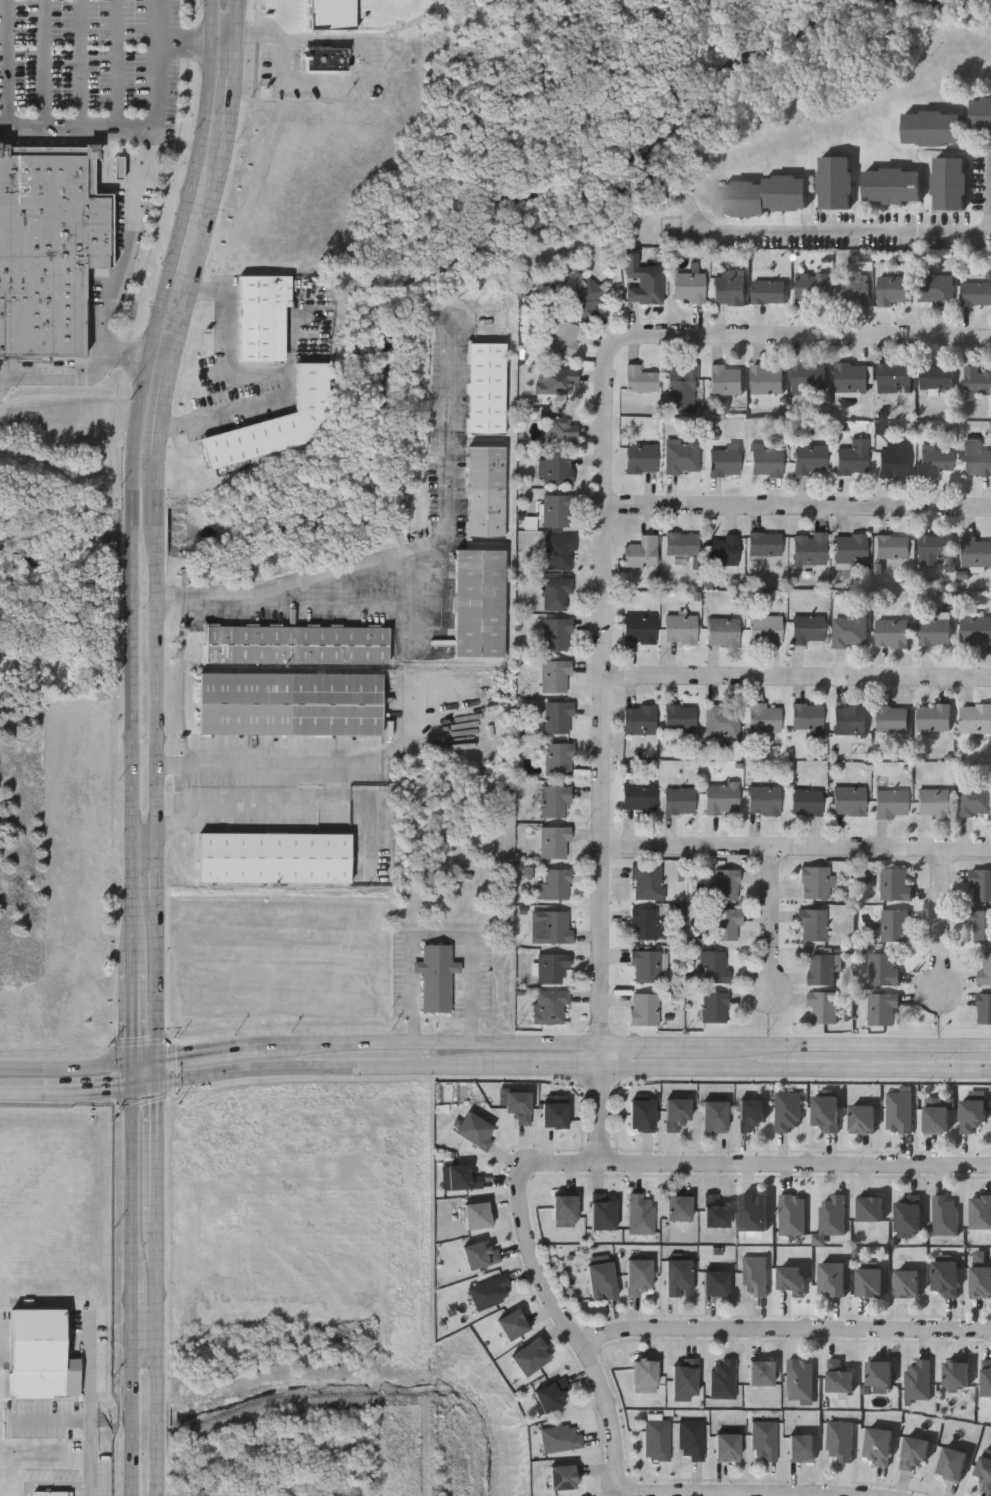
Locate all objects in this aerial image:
road: (160, 17)
road: (265, 17)
building: (325, 57)
road: (7, 63)
road: (45, 63)
road: (81, 63)
road: (116, 64)
road: (366, 78)
road: (156, 95)
building: (982, 116)
building: (933, 127)
building: (836, 181)
building: (951, 182)
building: (894, 185)
building: (765, 194)
road: (990, 195)
road: (845, 234)
road: (130, 237)
building: (49, 243)
building: (689, 286)
building: (730, 287)
building: (814, 288)
building: (894, 289)
building: (938, 289)
building: (854, 290)
building: (770, 291)
building: (976, 292)
building: (586, 299)
building: (263, 315)
building: (563, 336)
road: (269, 368)
road: (92, 373)
building: (895, 376)
building: (937, 376)
building: (852, 377)
building: (555, 379)
building: (641, 379)
building: (810, 379)
building: (977, 379)
building: (726, 380)
building: (768, 380)
building: (486, 386)
building: (684, 387)
building: (275, 422)
building: (559, 425)
building: (682, 456)
building: (642, 457)
building: (976, 457)
building: (810, 458)
building: (852, 458)
building: (895, 458)
building: (936, 458)
building: (725, 460)
building: (766, 460)
building: (555, 467)
road: (134, 476)
building: (486, 492)
road: (797, 508)
building: (556, 510)
road: (604, 514)
road: (155, 527)
building: (682, 542)
building: (765, 543)
building: (894, 546)
road: (402, 548)
building: (810, 548)
building: (851, 548)
building: (722, 549)
building: (935, 549)
building: (558, 551)
building: (641, 551)
building: (975, 551)
building: (555, 592)
road: (415, 595)
building: (480, 601)
road: (335, 603)
building: (639, 628)
building: (680, 628)
building: (765, 629)
building: (808, 630)
building: (723, 631)
building: (850, 631)
building: (976, 631)
building: (936, 632)
building: (893, 633)
building: (557, 634)
building: (297, 644)
building: (555, 676)
road: (798, 677)
building: (290, 703)
building: (807, 716)
building: (558, 717)
building: (764, 717)
building: (935, 717)
building: (893, 718)
building: (976, 718)
building: (639, 719)
building: (680, 719)
building: (850, 719)
building: (723, 720)
building: (559, 758)
road: (314, 764)
building: (638, 797)
building: (722, 797)
building: (764, 798)
building: (679, 799)
building: (849, 800)
building: (975, 800)
building: (555, 801)
building: (807, 801)
building: (892, 802)
building: (934, 803)
road: (247, 809)
building: (554, 842)
road: (796, 848)
building: (274, 856)
building: (647, 882)
building: (815, 882)
building: (556, 883)
building: (726, 884)
building: (896, 884)
building: (981, 884)
building: (644, 923)
building: (727, 924)
building: (812, 924)
building: (896, 925)
building: (981, 926)
building: (551, 927)
road: (768, 929)
road: (937, 929)
road: (441, 934)
building: (646, 965)
building: (713, 966)
building: (551, 967)
building: (824, 968)
building: (986, 968)
building: (885, 969)
building: (436, 976)
building: (550, 1006)
building: (714, 1006)
building: (823, 1007)
building: (644, 1008)
building: (984, 1008)
building: (882, 1009)
road: (134, 1014)
road: (433, 1041)
road: (654, 1045)
road: (848, 1045)
road: (211, 1053)
traffic signals: (158, 1063)
road: (146, 1065)
traffic signals: (135, 1067)
road: (309, 1069)
road: (532, 1069)
road: (796, 1069)
road: (67, 1070)
road: (157, 1074)
road: (135, 1078)
traffic signals: (157, 1086)
road: (146, 1087)
traffic signals: (136, 1089)
road: (68, 1092)
building: (518, 1107)
building: (787, 1112)
building: (676, 1113)
building: (898, 1113)
building: (750, 1114)
building: (824, 1114)
building: (553, 1115)
building: (970, 1115)
road: (602, 1116)
building: (640, 1116)
building: (714, 1117)
building: (862, 1119)
building: (936, 1120)
road: (157, 1155)
road: (756, 1164)
building: (462, 1178)
building: (563, 1206)
building: (678, 1207)
building: (870, 1207)
building: (714, 1211)
building: (753, 1211)
building: (980, 1211)
building: (639, 1213)
building: (476, 1214)
building: (603, 1214)
building: (791, 1214)
building: (831, 1214)
building: (907, 1215)
building: (944, 1215)
building: (479, 1254)
building: (753, 1275)
building: (637, 1276)
building: (677, 1277)
building: (945, 1277)
building: (831, 1278)
building: (791, 1279)
building: (600, 1280)
building: (869, 1281)
building: (980, 1281)
building: (715, 1282)
building: (906, 1283)
road: (134, 1292)
building: (488, 1292)
airport: (57, 1301)
building: (512, 1324)
road: (569, 1326)
road: (145, 1329)
road: (786, 1331)
building: (40, 1352)
building: (530, 1355)
road: (157, 1360)
building: (760, 1372)
building: (879, 1372)
building: (956, 1373)
building: (643, 1375)
building: (838, 1376)
building: (684, 1378)
building: (722, 1379)
building: (798, 1379)
building: (917, 1379)
building: (986, 1379)
building: (551, 1394)
road: (90, 1416)
building: (689, 1437)
building: (559, 1438)
building: (656, 1439)
building: (763, 1441)
building: (839, 1441)
building: (878, 1445)
building: (727, 1447)
building: (800, 1447)
building: (914, 1451)
building: (951, 1464)
building: (984, 1474)
building: (562, 1477)
building: (51, 1492)
road: (665, 1494)

